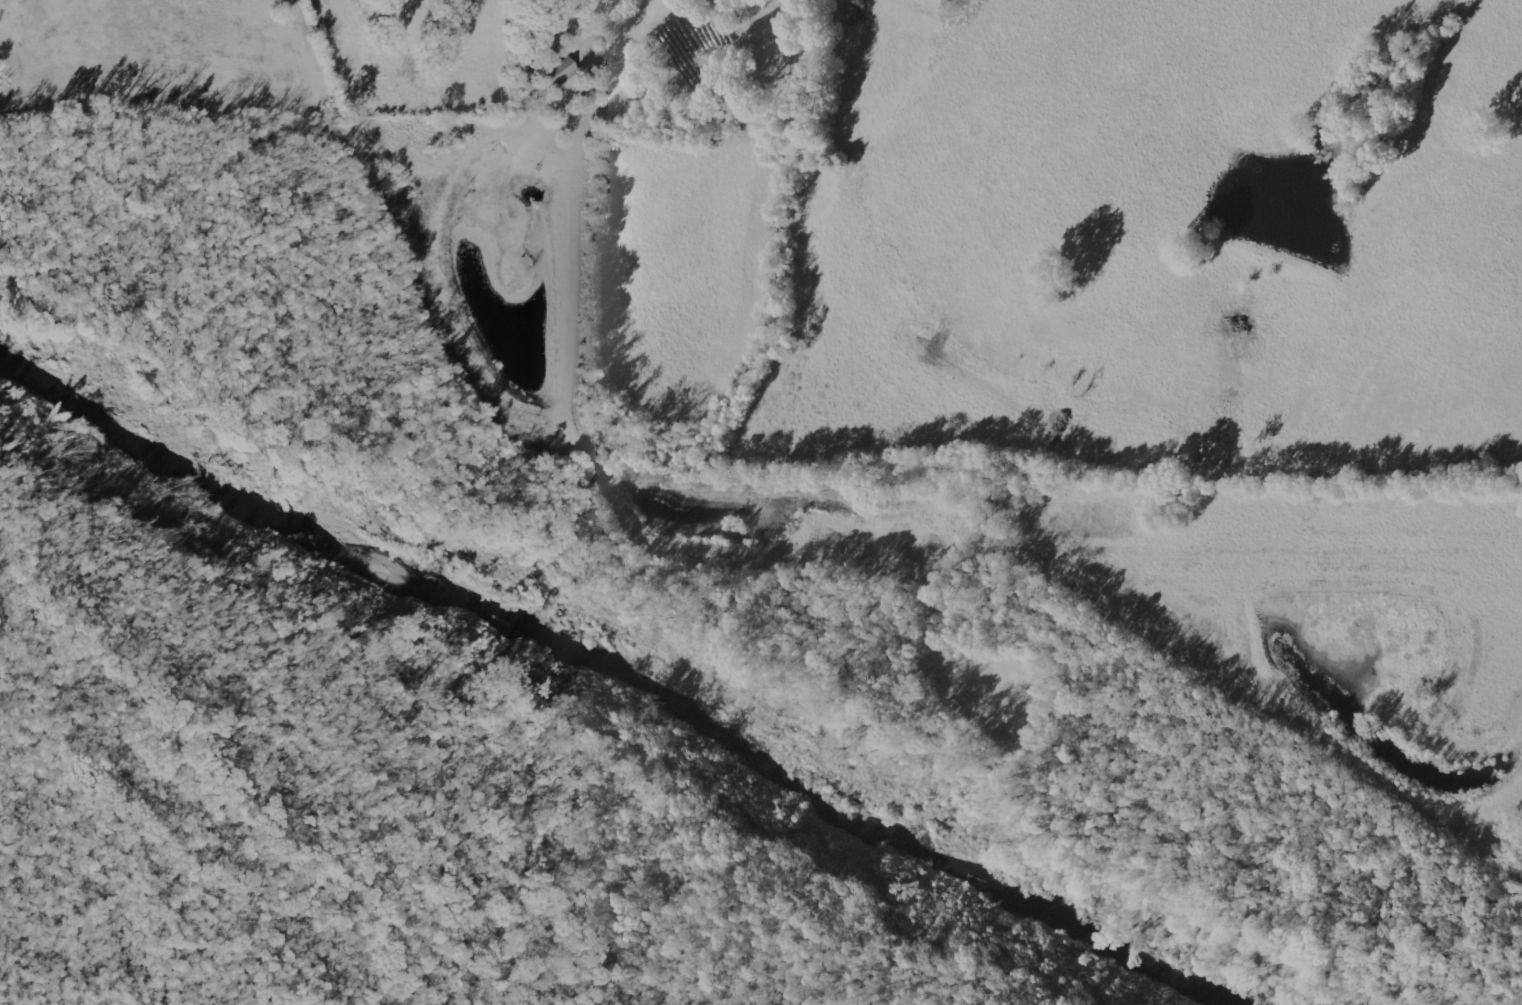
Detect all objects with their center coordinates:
road: (344, 6)
river: (610, 689)

